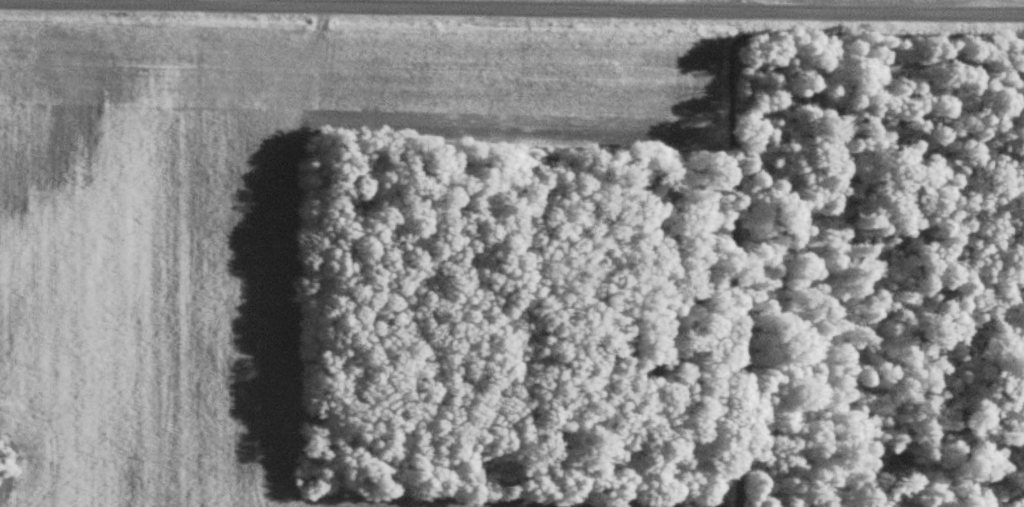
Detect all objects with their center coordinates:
road: (511, 10)

